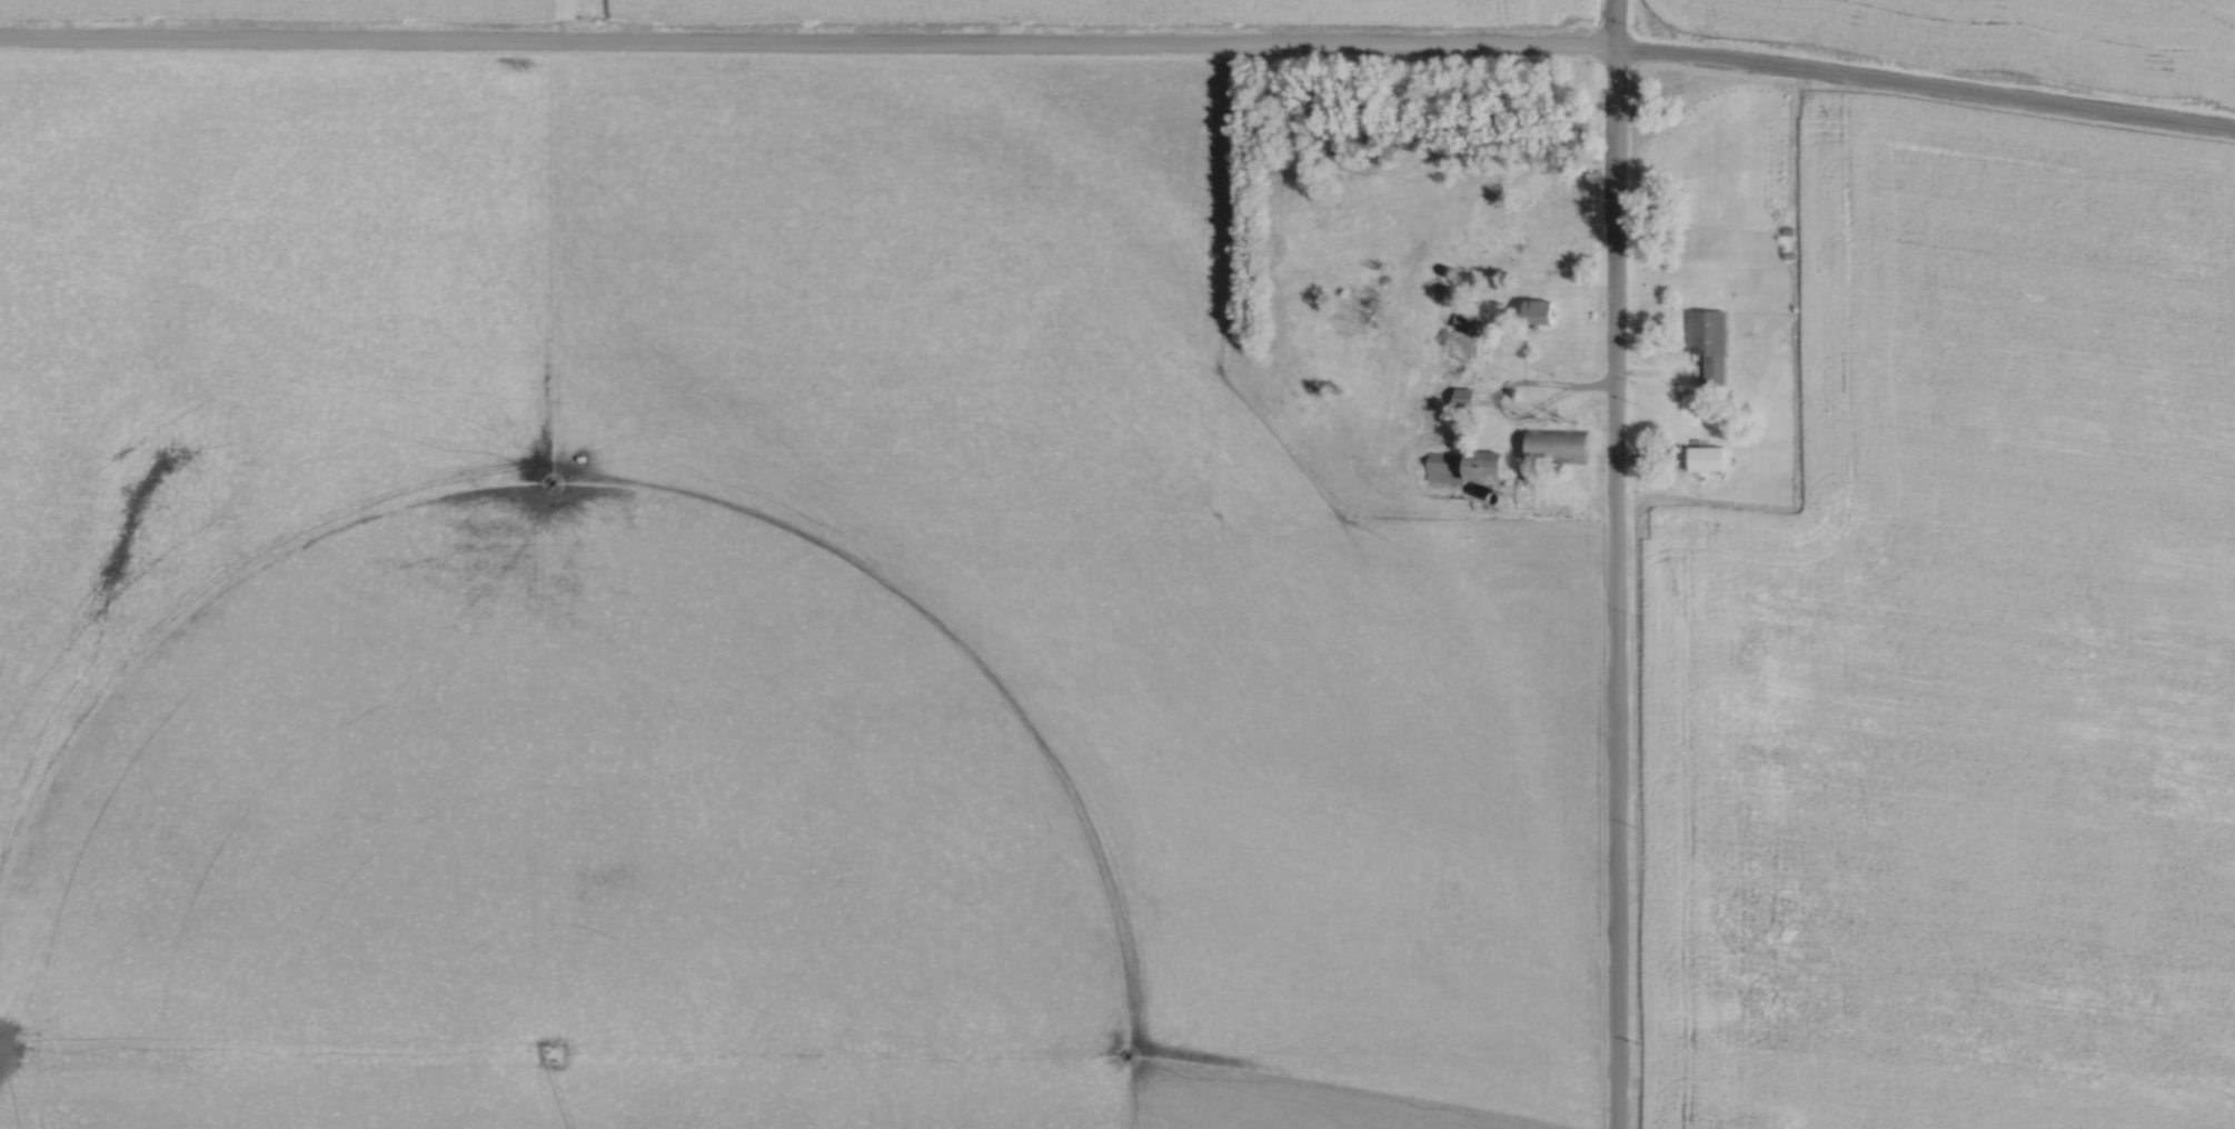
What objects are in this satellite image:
road: (1120, 46)
building: (1538, 309)
building: (1461, 319)
building: (1709, 340)
building: (1462, 394)
building: (1559, 444)
building: (1706, 454)
building: (1464, 468)
road: (1612, 564)

